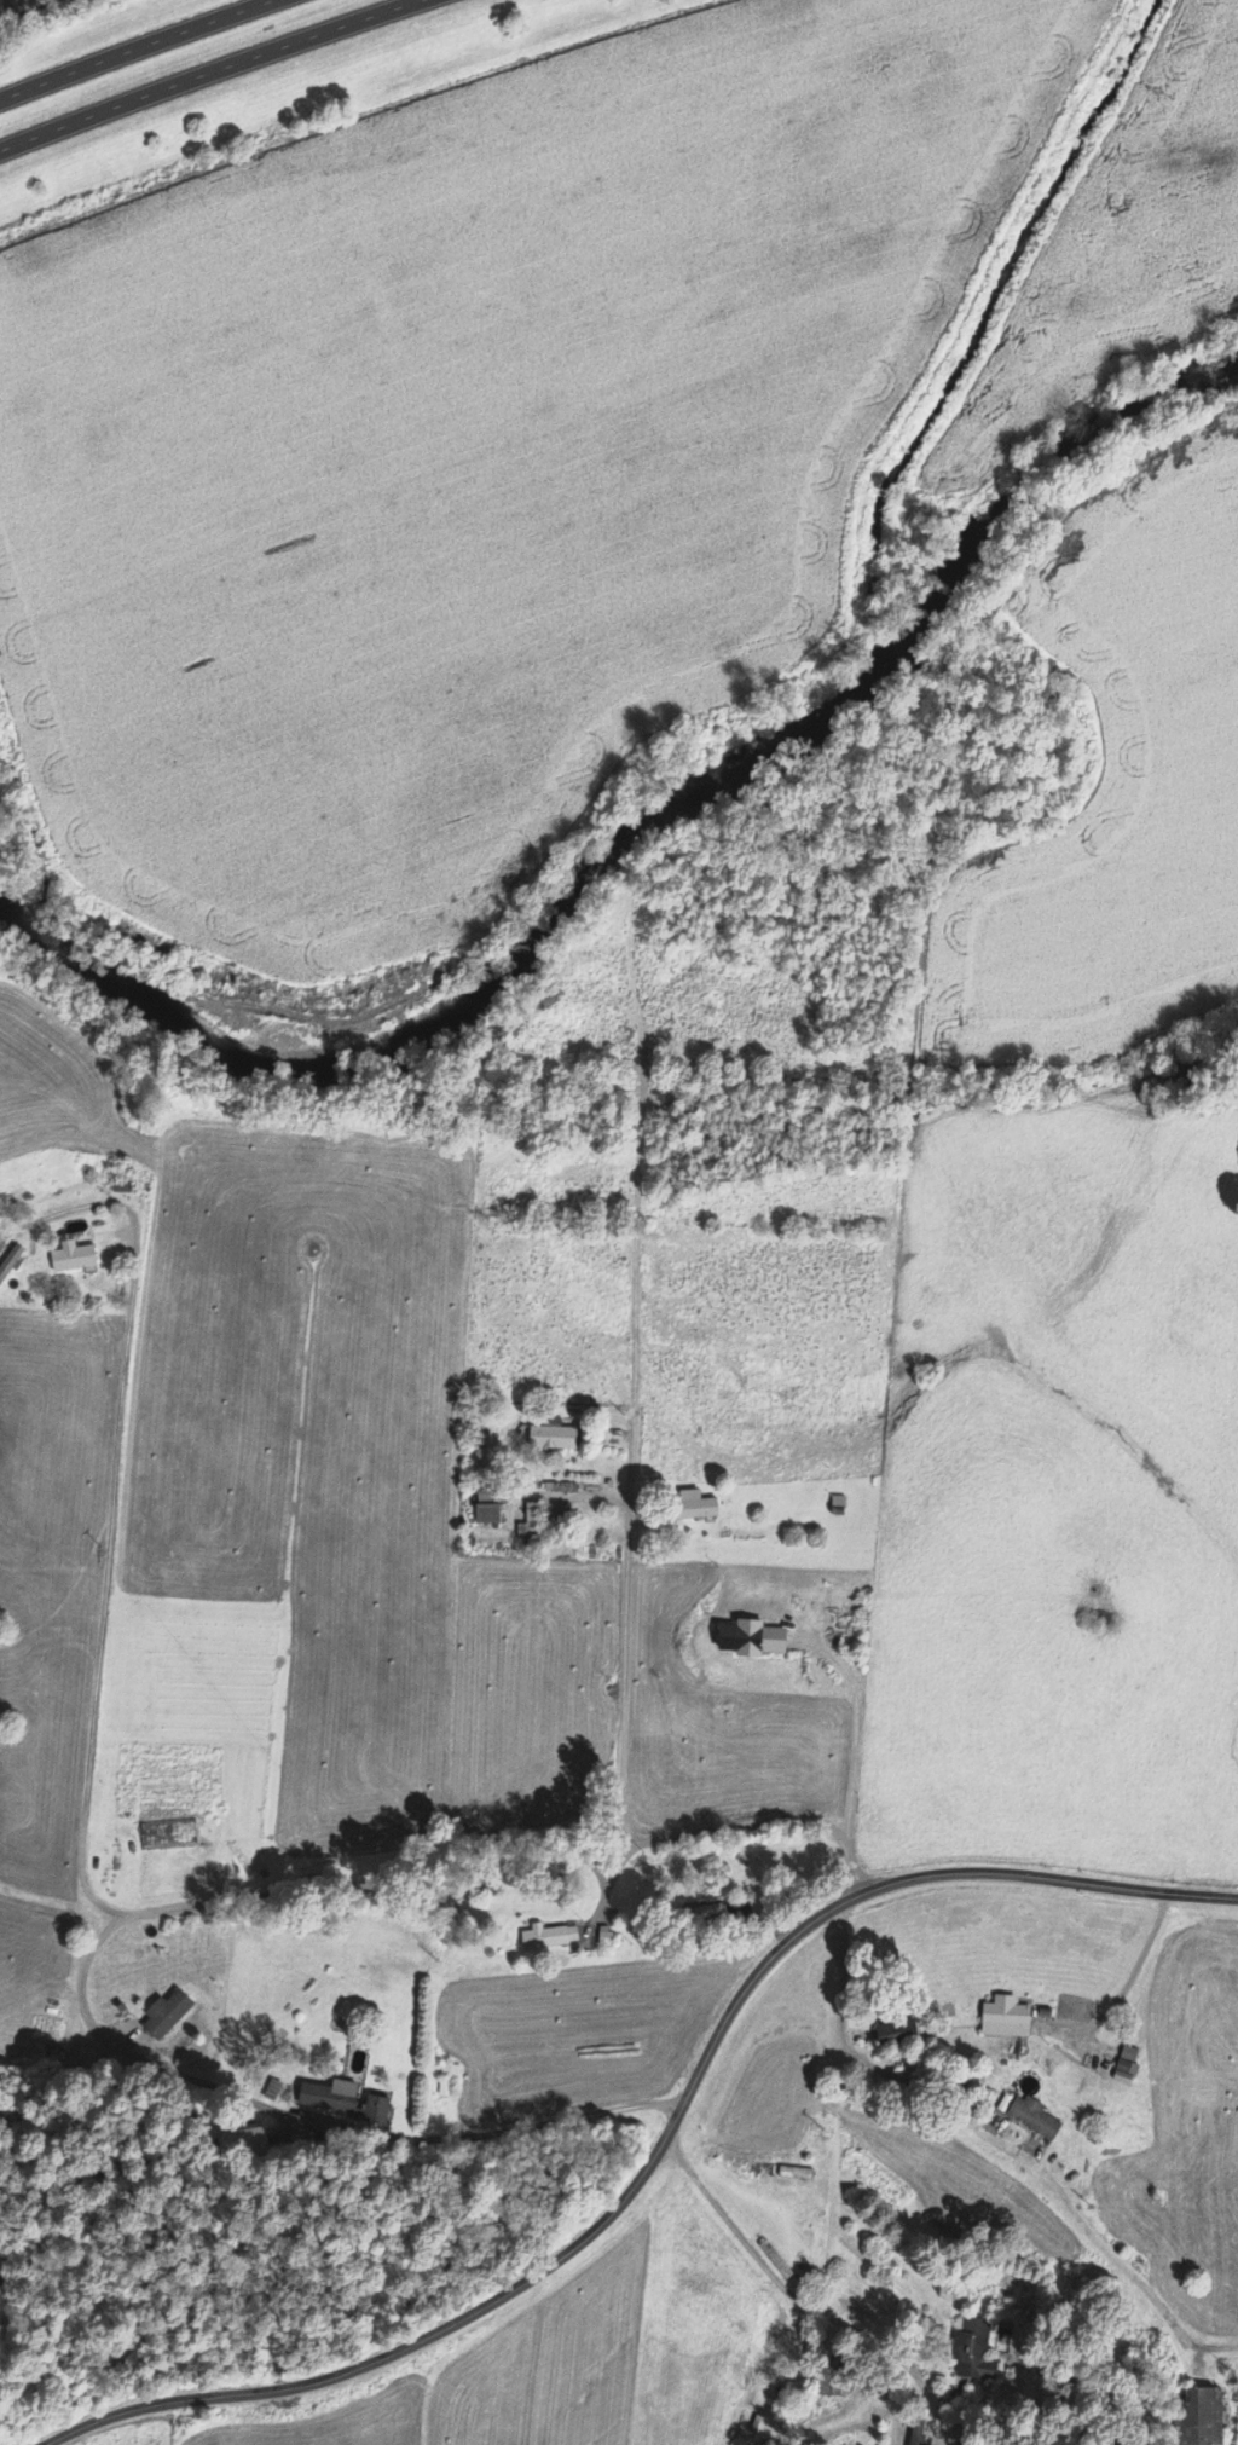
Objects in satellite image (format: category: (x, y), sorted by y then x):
road: (139, 50)
road: (204, 73)
river: (1127, 440)
crop: (476, 452)
river: (987, 570)
river: (808, 716)
river: (27, 911)
river: (578, 915)
river: (478, 1021)
river: (247, 1048)
building: (71, 1258)
building: (10, 1264)
building: (553, 1438)
building: (695, 1508)
building: (487, 1509)
road: (631, 1550)
building: (752, 1642)
building: (168, 1834)
building: (604, 1936)
building: (549, 1938)
building: (166, 2016)
building: (1005, 2019)
building: (897, 2033)
building: (1127, 2067)
building: (447, 2079)
building: (345, 2103)
building: (1034, 2119)
road: (983, 2128)
road: (661, 2145)
building: (971, 2346)
building: (827, 2385)
building: (1199, 2418)

